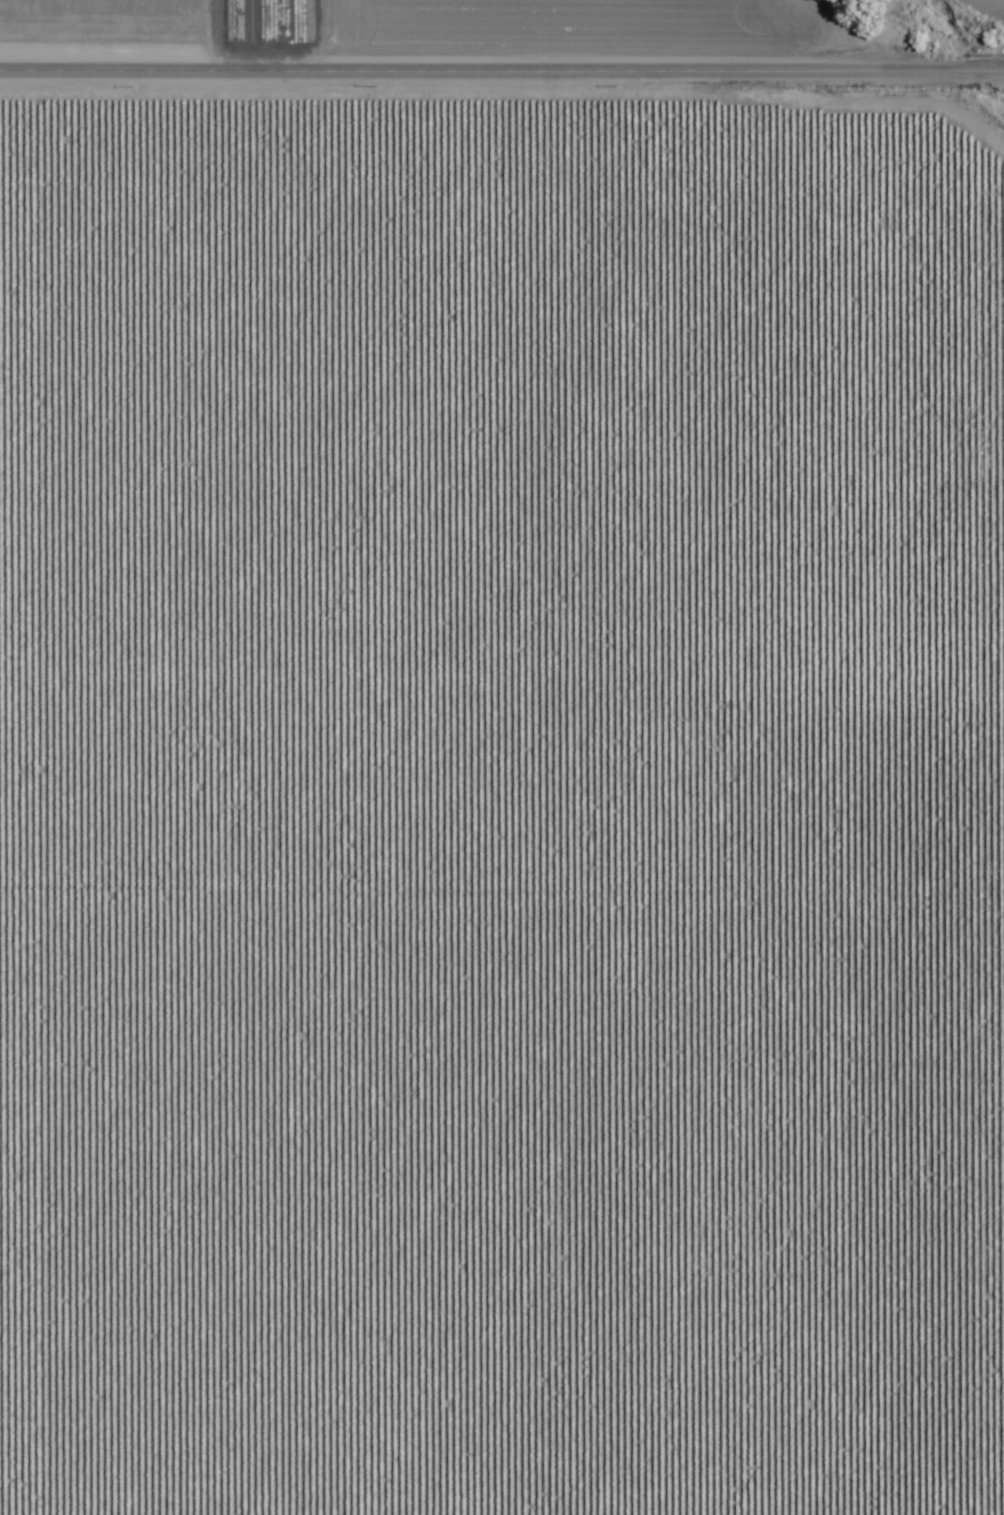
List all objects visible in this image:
road: (815, 35)
road: (502, 73)
wastewater plant: (877, 145)
crop: (501, 758)
road: (1002, 1411)

